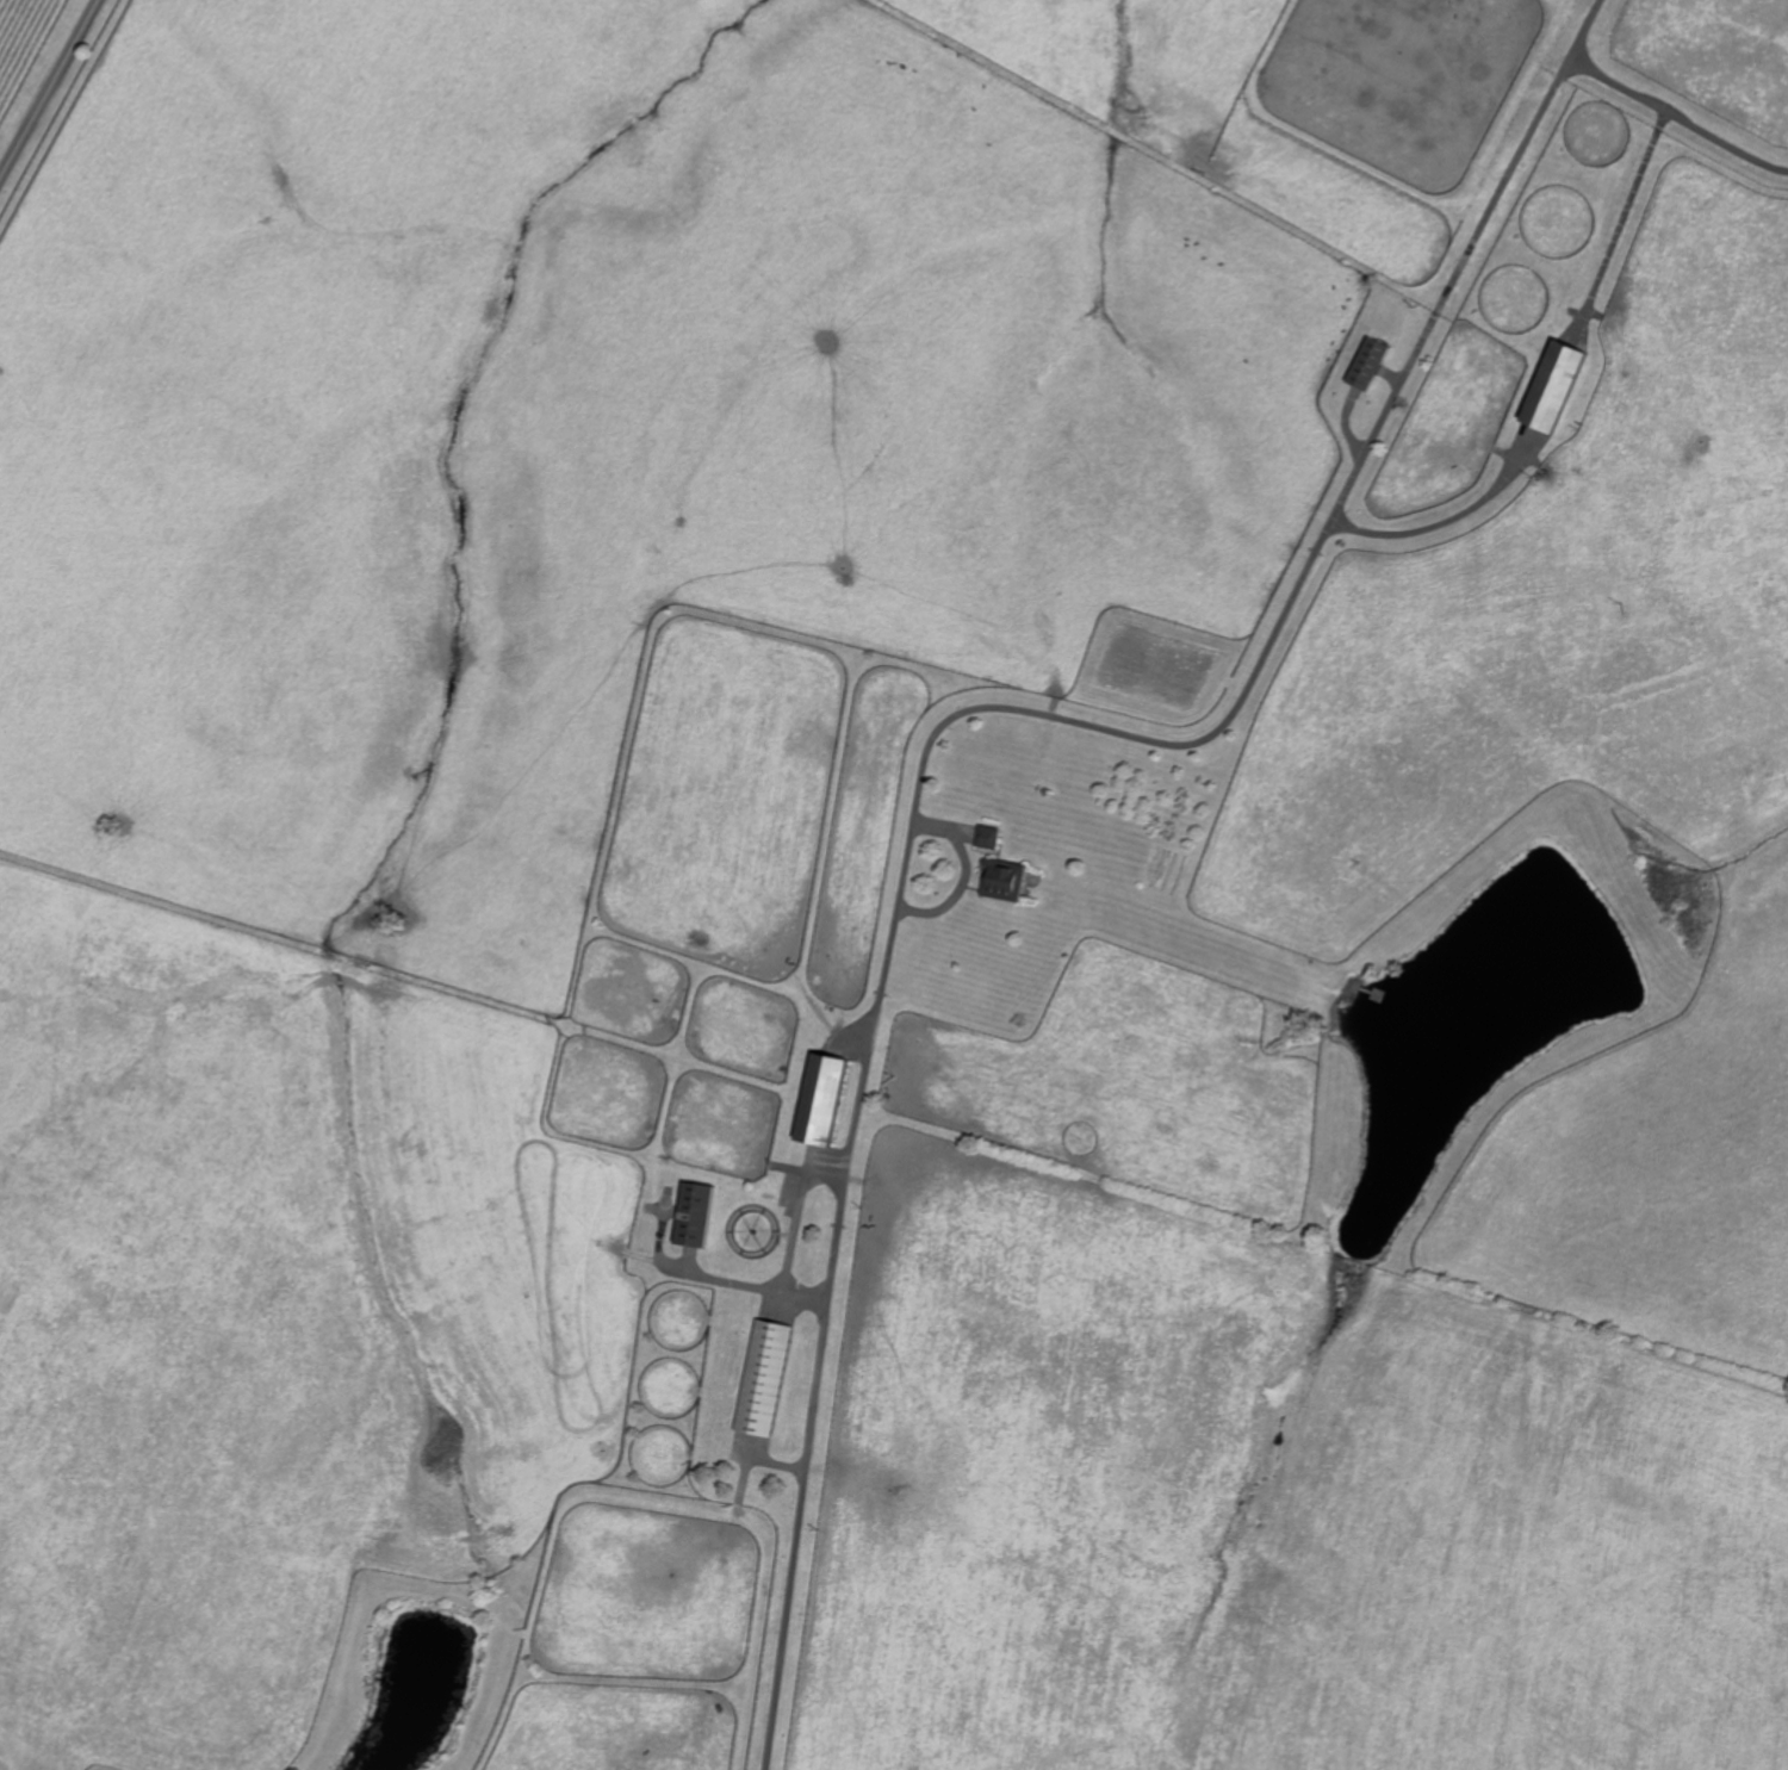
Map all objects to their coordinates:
road: (50, 92)
road: (1669, 108)
building: (1361, 365)
building: (1545, 390)
road: (1441, 516)
road: (960, 713)
building: (832, 1098)
building: (701, 1213)
building: (769, 1377)

